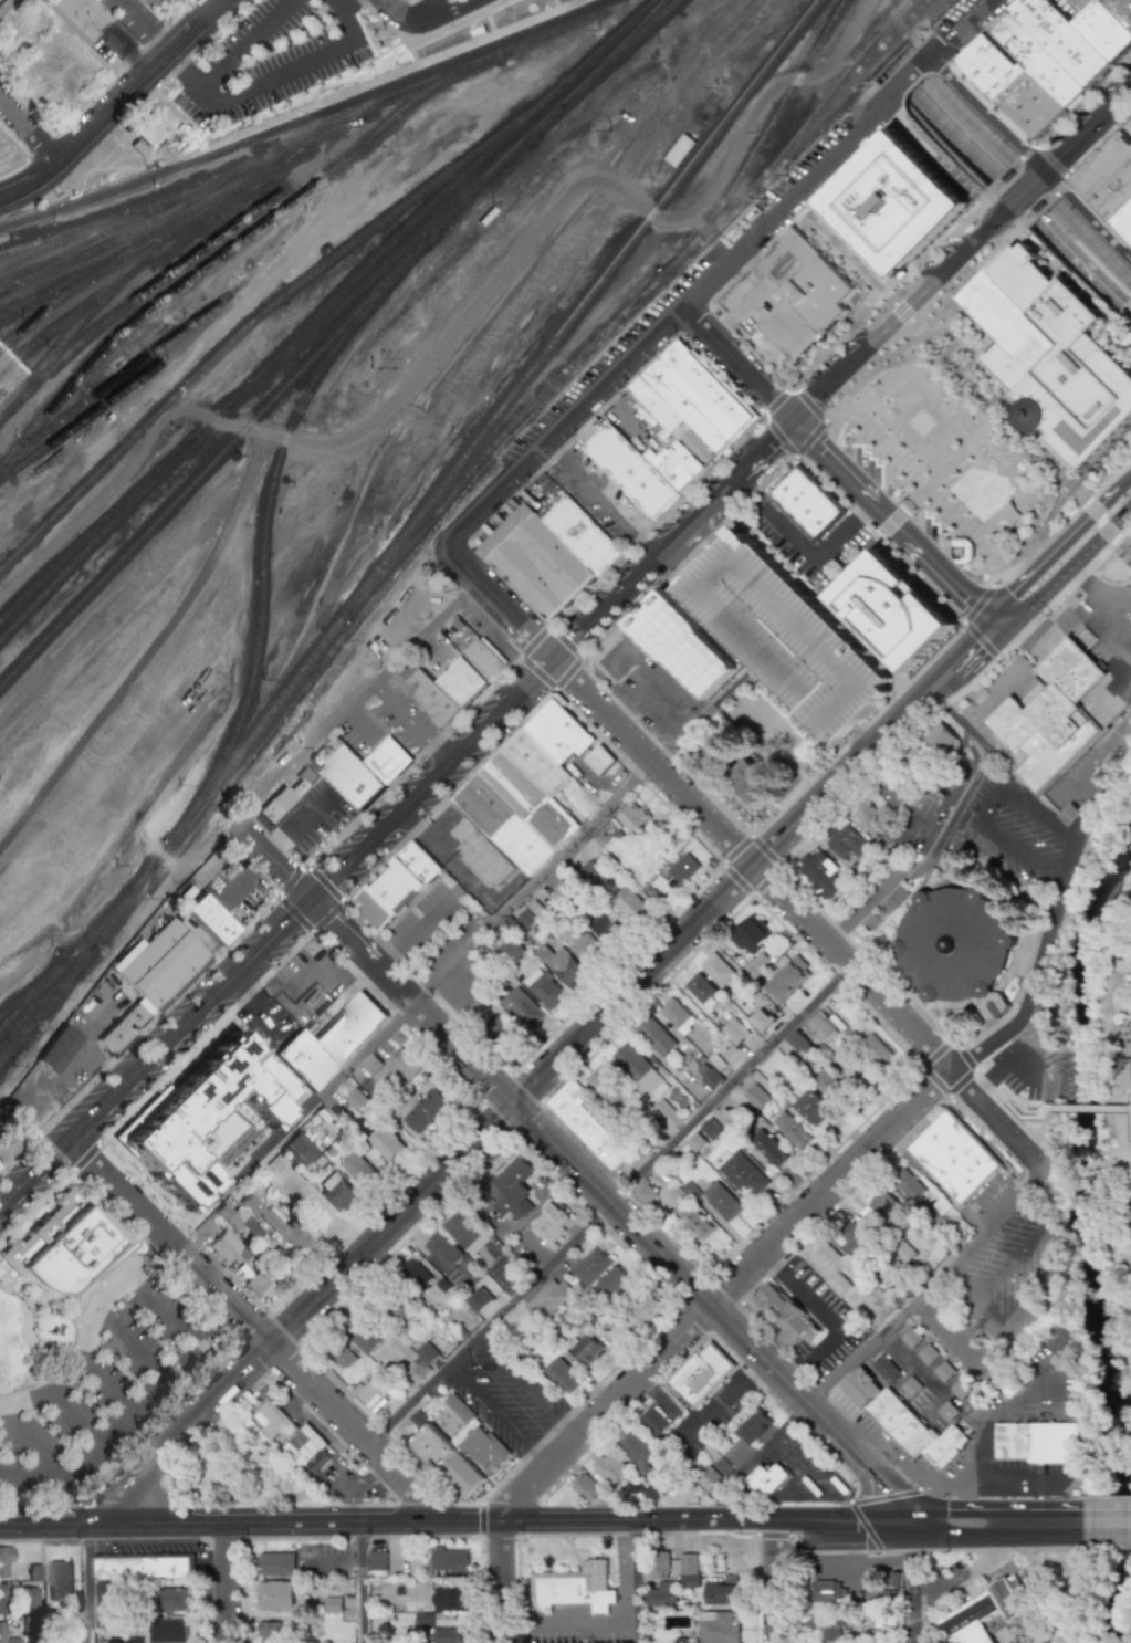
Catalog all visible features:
building: (151, 2)
road: (557, 2)
road: (9, 9)
road: (448, 12)
railway: (900, 13)
building: (77, 15)
building: (127, 18)
road: (411, 19)
road: (438, 38)
railway: (877, 51)
road: (415, 54)
railway: (610, 57)
road: (228, 59)
road: (293, 70)
building: (989, 73)
railway: (840, 84)
building: (1055, 84)
road: (116, 106)
building: (1029, 109)
road: (988, 113)
railway: (303, 118)
road: (970, 121)
building: (151, 126)
road: (31, 129)
railway: (768, 130)
road: (955, 136)
road: (645, 148)
road: (955, 154)
railway: (188, 157)
railway: (281, 161)
building: (1113, 185)
building: (888, 192)
railway: (174, 198)
railway: (437, 199)
road: (1086, 213)
railway: (83, 229)
railway: (153, 232)
railway: (127, 233)
road: (1092, 243)
railway: (53, 247)
railway: (13, 252)
road: (841, 252)
railway: (222, 253)
road: (961, 253)
railway: (116, 265)
road: (719, 269)
road: (1085, 269)
railway: (45, 285)
railway: (196, 290)
railway: (137, 293)
railway: (642, 295)
road: (888, 300)
building: (809, 301)
railway: (272, 305)
railway: (338, 310)
road: (900, 311)
railway: (73, 314)
road: (841, 332)
building: (1055, 353)
road: (736, 364)
railway: (119, 378)
traffic signals: (815, 398)
traffic signals: (771, 399)
road: (991, 401)
road: (302, 402)
railway: (264, 410)
railway: (83, 420)
building: (672, 429)
traffic signals: (767, 446)
traffic signals: (821, 452)
road: (129, 459)
road: (936, 477)
road: (1122, 481)
road: (601, 501)
road: (13, 502)
building: (808, 504)
road: (1098, 521)
road: (891, 523)
railway: (408, 532)
railway: (264, 543)
road: (1117, 543)
road: (800, 548)
building: (960, 551)
road: (1053, 551)
road: (1125, 552)
building: (549, 553)
railway: (83, 554)
road: (1068, 567)
road: (1090, 586)
traffic signals: (1008, 595)
traffic signals: (967, 597)
building: (899, 610)
road: (1029, 628)
road: (423, 630)
road: (1107, 630)
traffic signals: (1035, 632)
building: (787, 635)
parking garage: (787, 635)
traffic signals: (972, 643)
building: (683, 645)
flagpole: (940, 647)
building: (484, 659)
building: (462, 682)
road: (1117, 695)
building: (431, 698)
road: (629, 698)
road: (600, 707)
building: (1053, 718)
road: (411, 723)
building: (561, 732)
building: (940, 739)
road: (878, 741)
road: (303, 753)
building: (708, 753)
building: (598, 760)
building: (914, 762)
building: (364, 771)
road: (1098, 778)
building: (752, 782)
building: (890, 792)
building: (285, 795)
building: (580, 802)
road: (988, 815)
building: (1069, 815)
building: (632, 817)
building: (869, 818)
road: (396, 819)
road: (300, 826)
road: (945, 827)
road: (924, 828)
building: (845, 840)
road: (275, 862)
building: (683, 869)
building: (590, 872)
building: (820, 872)
road: (247, 879)
building: (396, 886)
building: (629, 904)
building: (524, 918)
building: (209, 919)
building: (603, 927)
road: (413, 934)
building: (750, 934)
railway: (83, 946)
building: (584, 949)
building: (957, 950)
building: (506, 951)
building: (561, 965)
building: (715, 969)
building: (1122, 973)
building: (151, 977)
building: (787, 980)
building: (543, 988)
building: (702, 990)
railway: (49, 995)
railway: (27, 1003)
road: (413, 1003)
road: (256, 1007)
building: (521, 1008)
road: (897, 1013)
road: (96, 1015)
building: (676, 1015)
building: (761, 1019)
building: (820, 1027)
building: (503, 1030)
building: (654, 1036)
building: (739, 1036)
railway: (17, 1042)
building: (329, 1042)
building: (796, 1043)
building: (57, 1048)
building: (873, 1051)
road: (73, 1055)
building: (404, 1063)
building: (639, 1069)
building: (708, 1075)
road: (729, 1081)
building: (825, 1084)
building: (604, 1085)
building: (754, 1096)
building: (352, 1101)
road: (1087, 1105)
road: (1127, 1106)
building: (810, 1107)
building: (426, 1111)
building: (666, 1113)
building: (205, 1118)
building: (586, 1126)
building: (790, 1130)
road: (1037, 1130)
building: (702, 1134)
building: (385, 1143)
building: (6, 1145)
building: (302, 1148)
building: (768, 1149)
road: (562, 1154)
building: (950, 1158)
building: (358, 1171)
road: (848, 1171)
building: (742, 1174)
building: (907, 1186)
building: (512, 1189)
building: (335, 1192)
building: (642, 1192)
road: (421, 1193)
building: (721, 1200)
road: (1017, 1202)
building: (882, 1204)
building: (551, 1222)
building: (693, 1222)
building: (241, 1223)
building: (281, 1227)
building: (467, 1233)
building: (852, 1239)
river: (1087, 1241)
building: (71, 1245)
building: (227, 1246)
building: (902, 1250)
building: (440, 1253)
building: (826, 1263)
road: (1013, 1265)
building: (590, 1266)
building: (417, 1275)
building: (611, 1283)
building: (259, 1286)
road: (1047, 1288)
building: (548, 1298)
building: (480, 1300)
road: (981, 1304)
road: (163, 1306)
building: (391, 1307)
building: (646, 1307)
building: (787, 1315)
road: (825, 1318)
road: (897, 1321)
road: (489, 1322)
road: (258, 1327)
road: (90, 1332)
building: (362, 1333)
road: (953, 1335)
building: (910, 1337)
road: (128, 1344)
building: (584, 1349)
building: (341, 1354)
building: (926, 1354)
road: (175, 1358)
building: (423, 1360)
road: (912, 1364)
building: (884, 1369)
building: (943, 1371)
building: (700, 1373)
building: (562, 1374)
building: (1013, 1384)
building: (859, 1386)
building: (910, 1386)
road: (105, 1388)
road: (525, 1388)
building: (959, 1389)
building: (373, 1395)
road: (719, 1398)
building: (946, 1410)
road: (498, 1414)
road: (998, 1414)
road: (72, 1420)
building: (653, 1420)
building: (753, 1425)
building: (911, 1432)
building: (293, 1436)
road: (33, 1440)
building: (1039, 1440)
building: (633, 1446)
building: (461, 1450)
road: (90, 1451)
road: (756, 1458)
road: (866, 1462)
building: (608, 1467)
road: (1009, 1475)
building: (706, 1478)
building: (766, 1479)
building: (585, 1489)
traffic signals: (893, 1489)
road: (523, 1492)
road: (932, 1498)
road: (569, 1520)
road: (733, 1520)
road: (251, 1522)
traffic signals: (859, 1524)
road: (870, 1524)
road: (998, 1524)
road: (1108, 1524)
traffic signals: (950, 1525)
road: (799, 1550)
building: (448, 1558)
traffic signals: (913, 1558)
building: (377, 1560)
building: (4, 1561)
building: (277, 1563)
building: (659, 1564)
building: (685, 1569)
building: (137, 1571)
building: (60, 1580)
road: (504, 1581)
road: (638, 1581)
road: (777, 1581)
road: (228, 1582)
road: (363, 1582)
road: (90, 1583)
road: (913, 1583)
building: (573, 1586)
building: (722, 1590)
building: (825, 1590)
building: (659, 1594)
building: (275, 1595)
building: (27, 1597)
building: (171, 1598)
building: (450, 1598)
building: (1010, 1598)
building: (1, 1599)
building: (106, 1599)
building: (331, 1604)
building: (422, 1619)
park: (1121, 1619)
building: (970, 1620)
building: (993, 1621)
road: (572, 1625)
building: (718, 1628)
building: (828, 1629)
building: (2, 1631)
building: (161, 1631)
building: (270, 1632)
building: (449, 1634)

